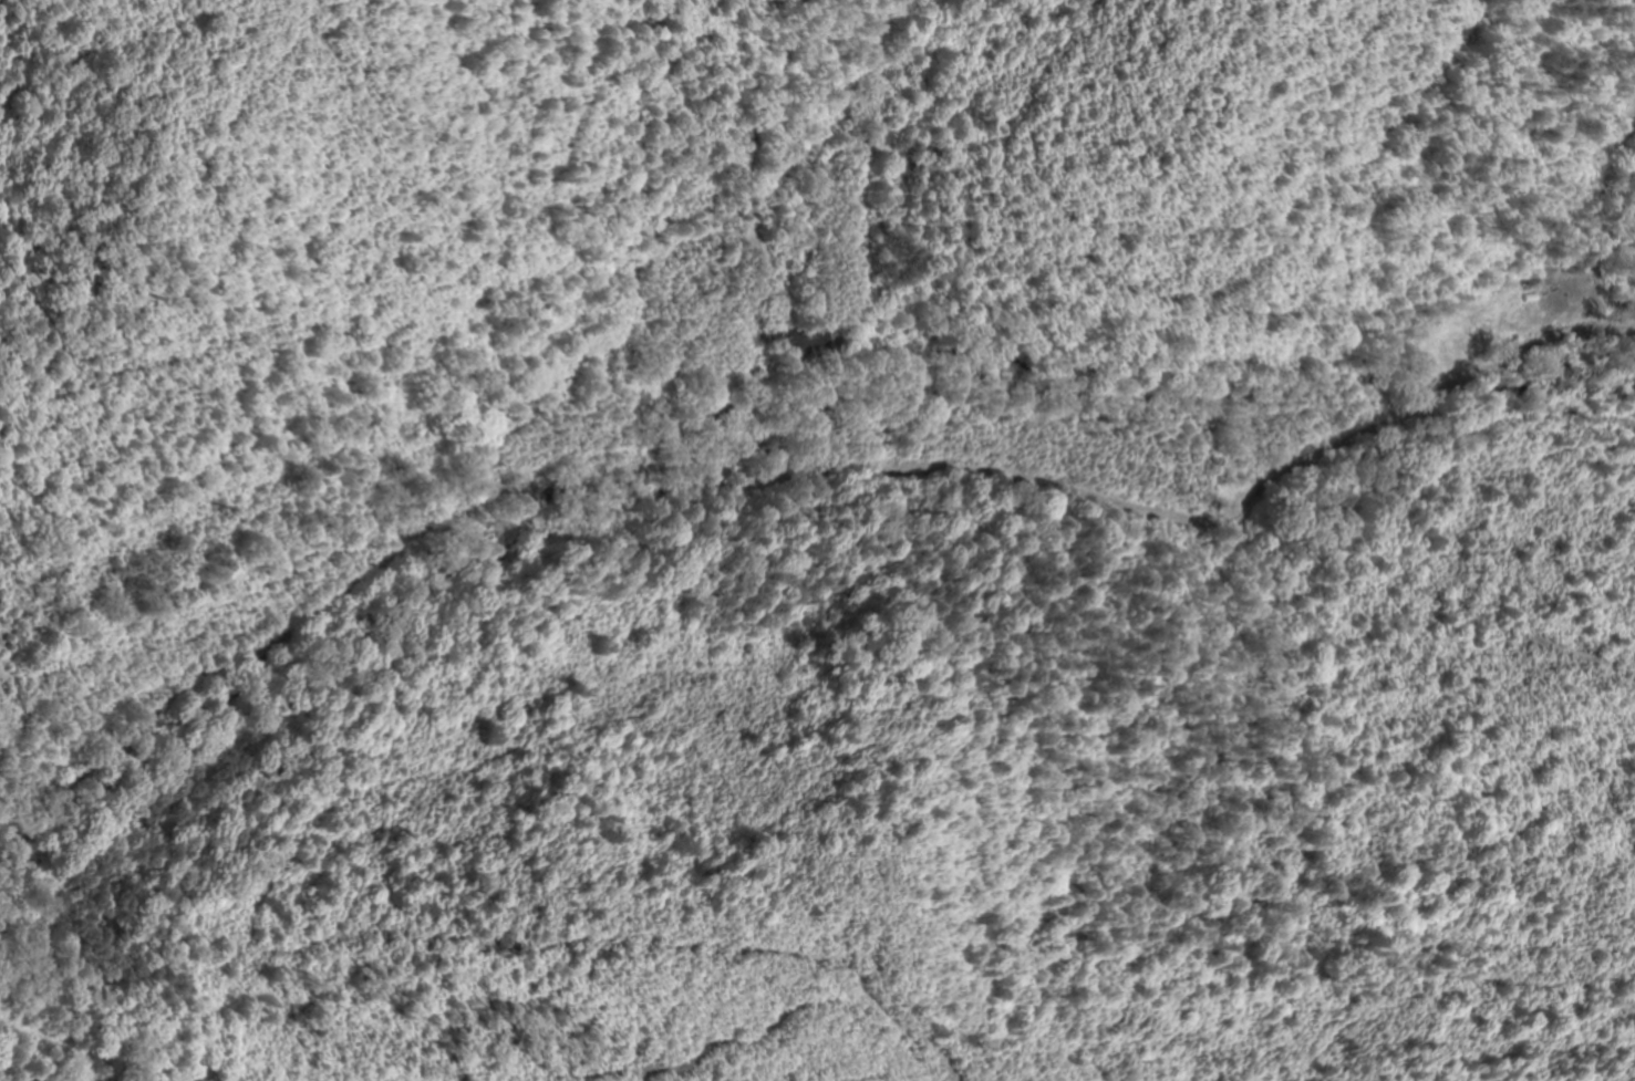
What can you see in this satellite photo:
building: (814, 342)
road: (782, 480)

